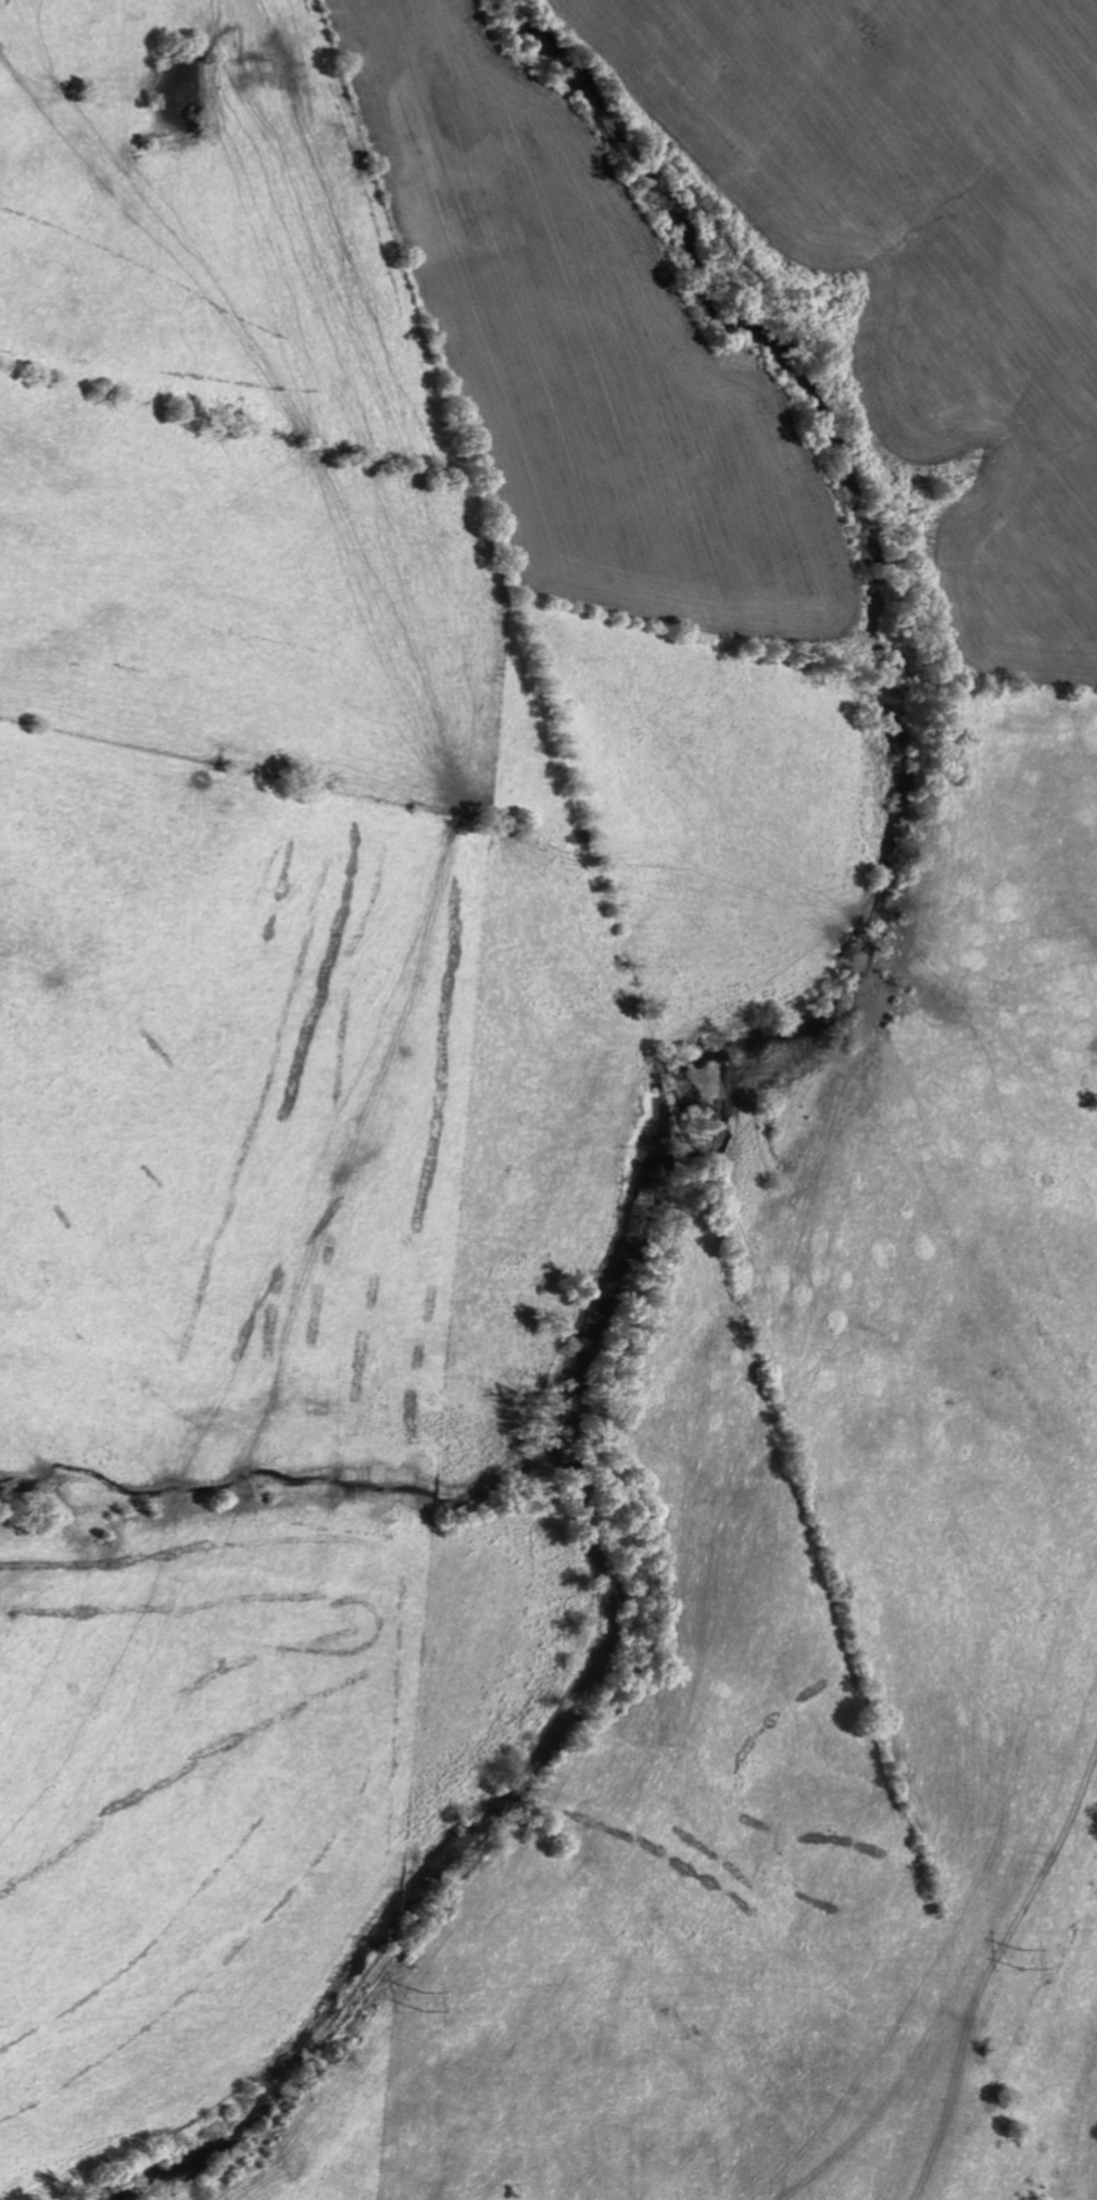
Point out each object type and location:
power tower: (1020, 1959)
power tower: (425, 2003)

